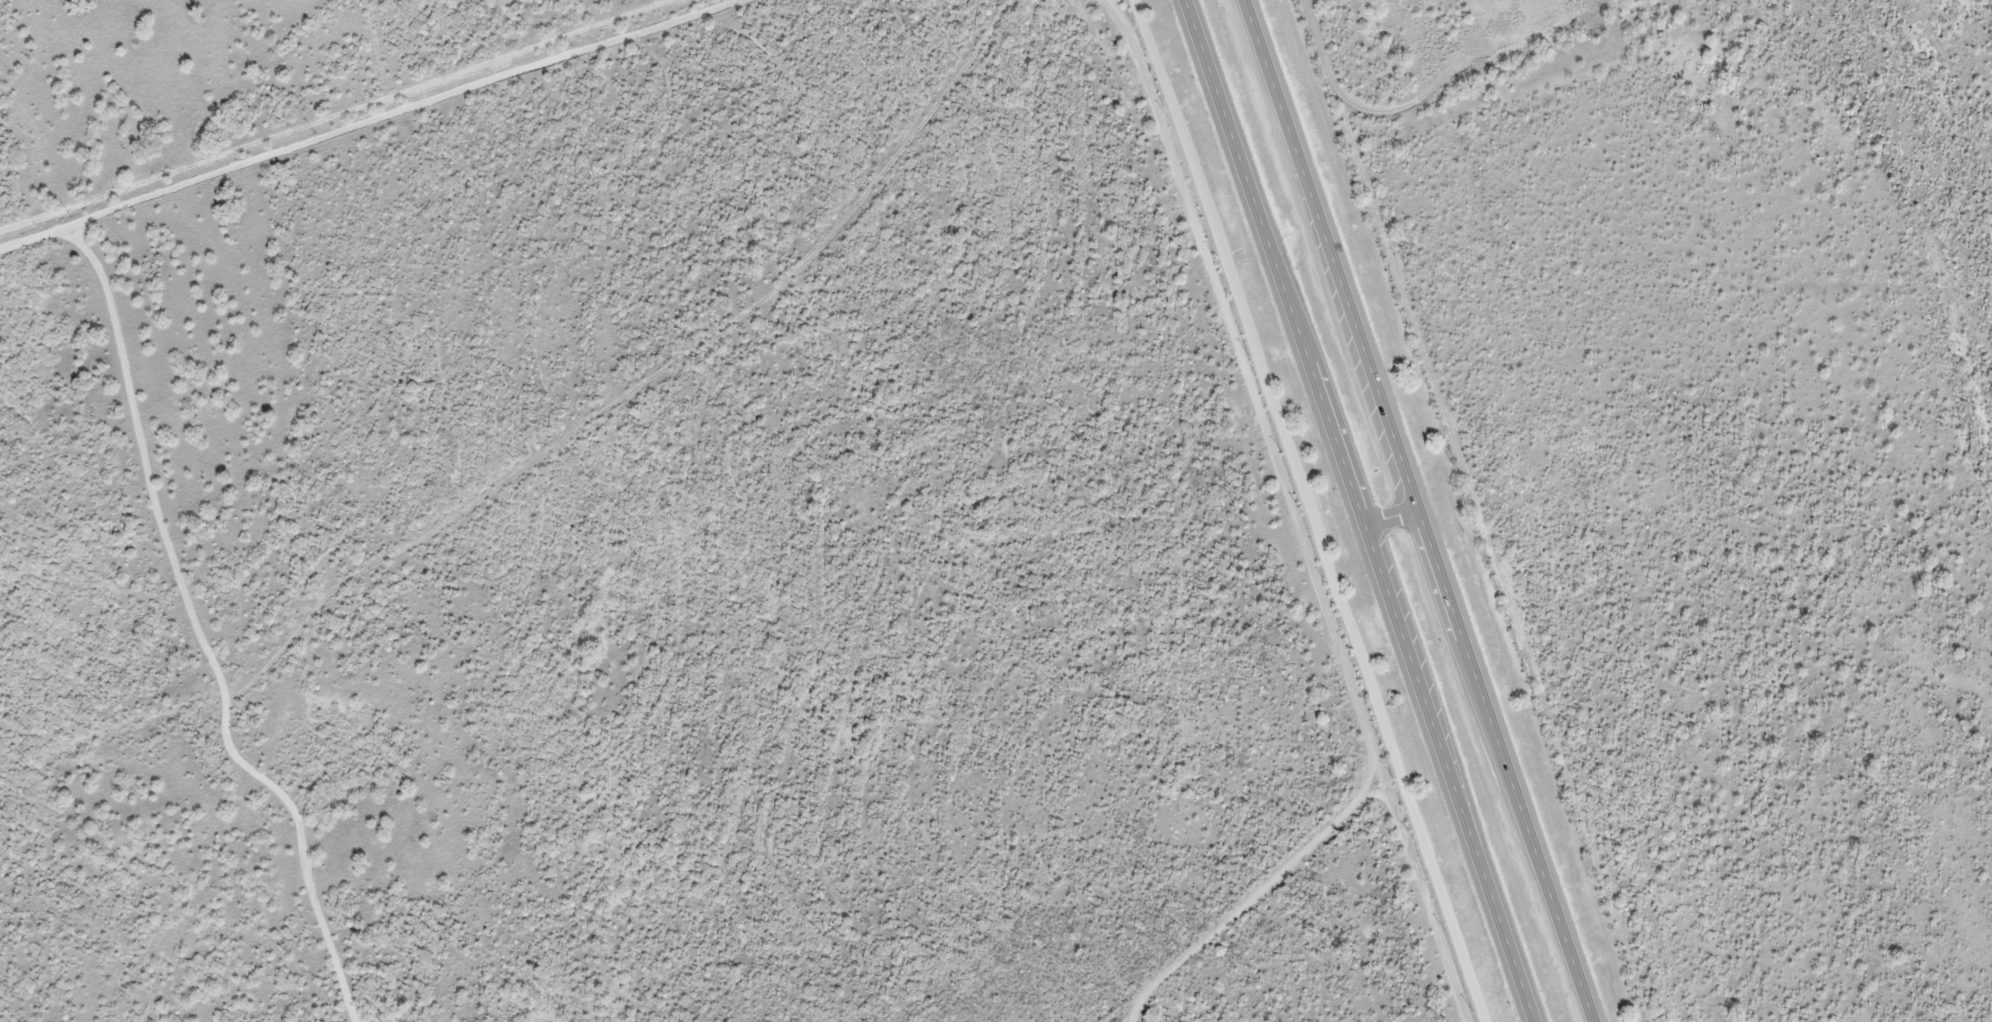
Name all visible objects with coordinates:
road: (1347, 511)
road: (1423, 511)
road: (175, 606)

